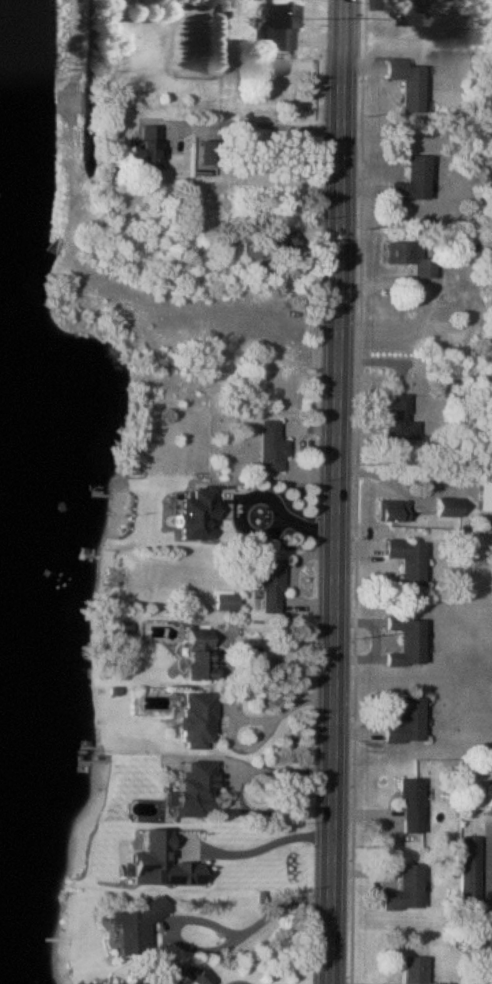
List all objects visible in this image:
building: (413, 13)
building: (277, 28)
building: (405, 83)
road: (257, 125)
building: (148, 147)
building: (206, 151)
building: (410, 182)
building: (277, 237)
building: (246, 249)
building: (407, 257)
building: (398, 422)
building: (269, 447)
road: (335, 492)
building: (483, 495)
building: (390, 510)
building: (194, 513)
road: (251, 531)
building: (407, 559)
building: (269, 585)
building: (405, 642)
building: (194, 657)
road: (234, 681)
road: (267, 720)
building: (192, 721)
building: (404, 723)
road: (235, 778)
building: (191, 788)
building: (487, 796)
building: (408, 806)
road: (271, 843)
building: (468, 882)
building: (403, 890)
road: (265, 916)
building: (130, 929)
building: (414, 970)
building: (149, 977)

